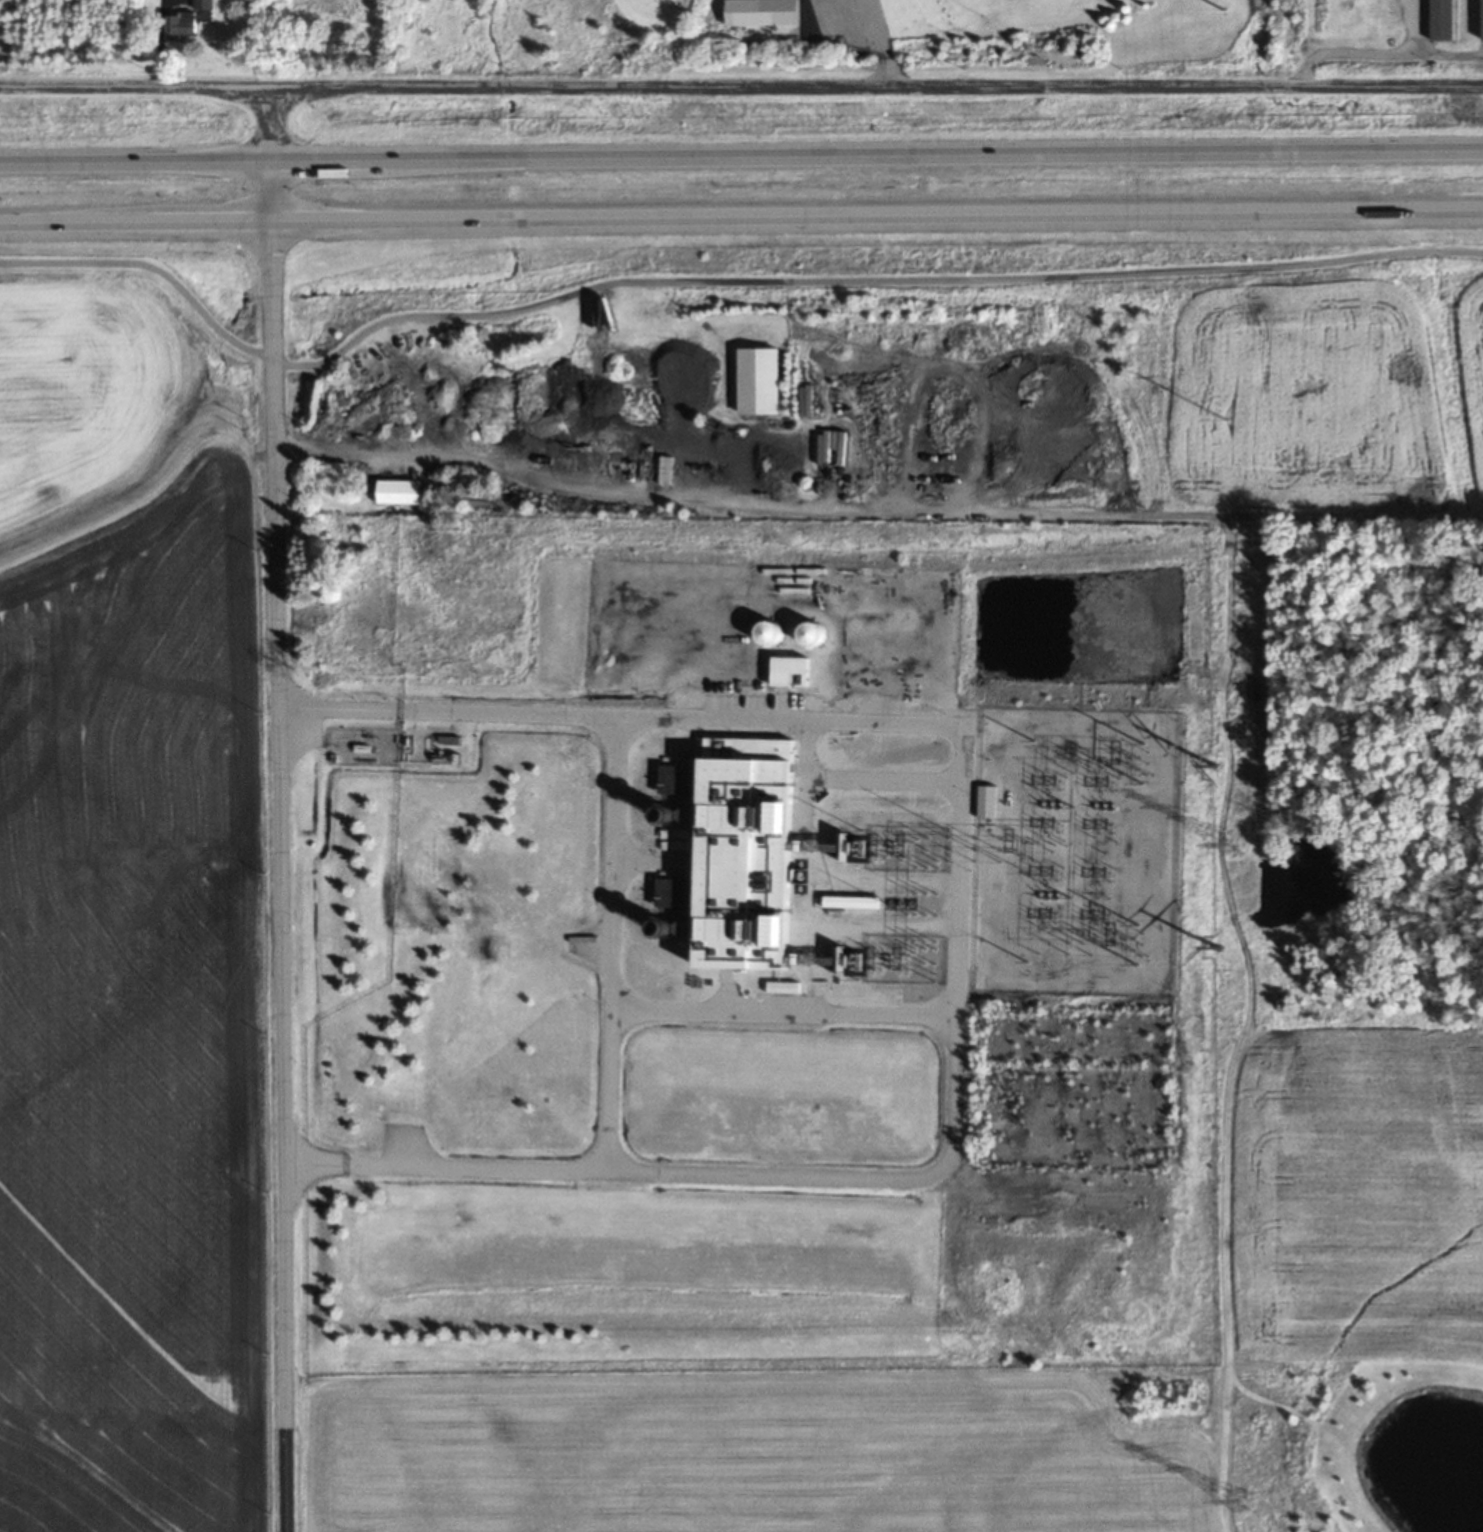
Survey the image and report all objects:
building: (201, 4)
power tower: (1224, 10)
building: (177, 25)
park: (828, 38)
road: (881, 42)
road: (741, 86)
road: (741, 159)
road: (741, 217)
road: (716, 285)
building: (755, 379)
power tower: (1226, 418)
building: (396, 490)
building: (762, 632)
building: (806, 632)
building: (786, 670)
power substation: (405, 744)
power tower: (1211, 764)
building: (985, 800)
road: (280, 808)
chimney: (679, 813)
power tower: (1232, 841)
building: (737, 848)
power substation: (1075, 850)
building: (663, 891)
chimney: (676, 928)
power tower: (1211, 946)
power plant: (780, 955)
building: (781, 986)
power tower: (1242, 1499)

